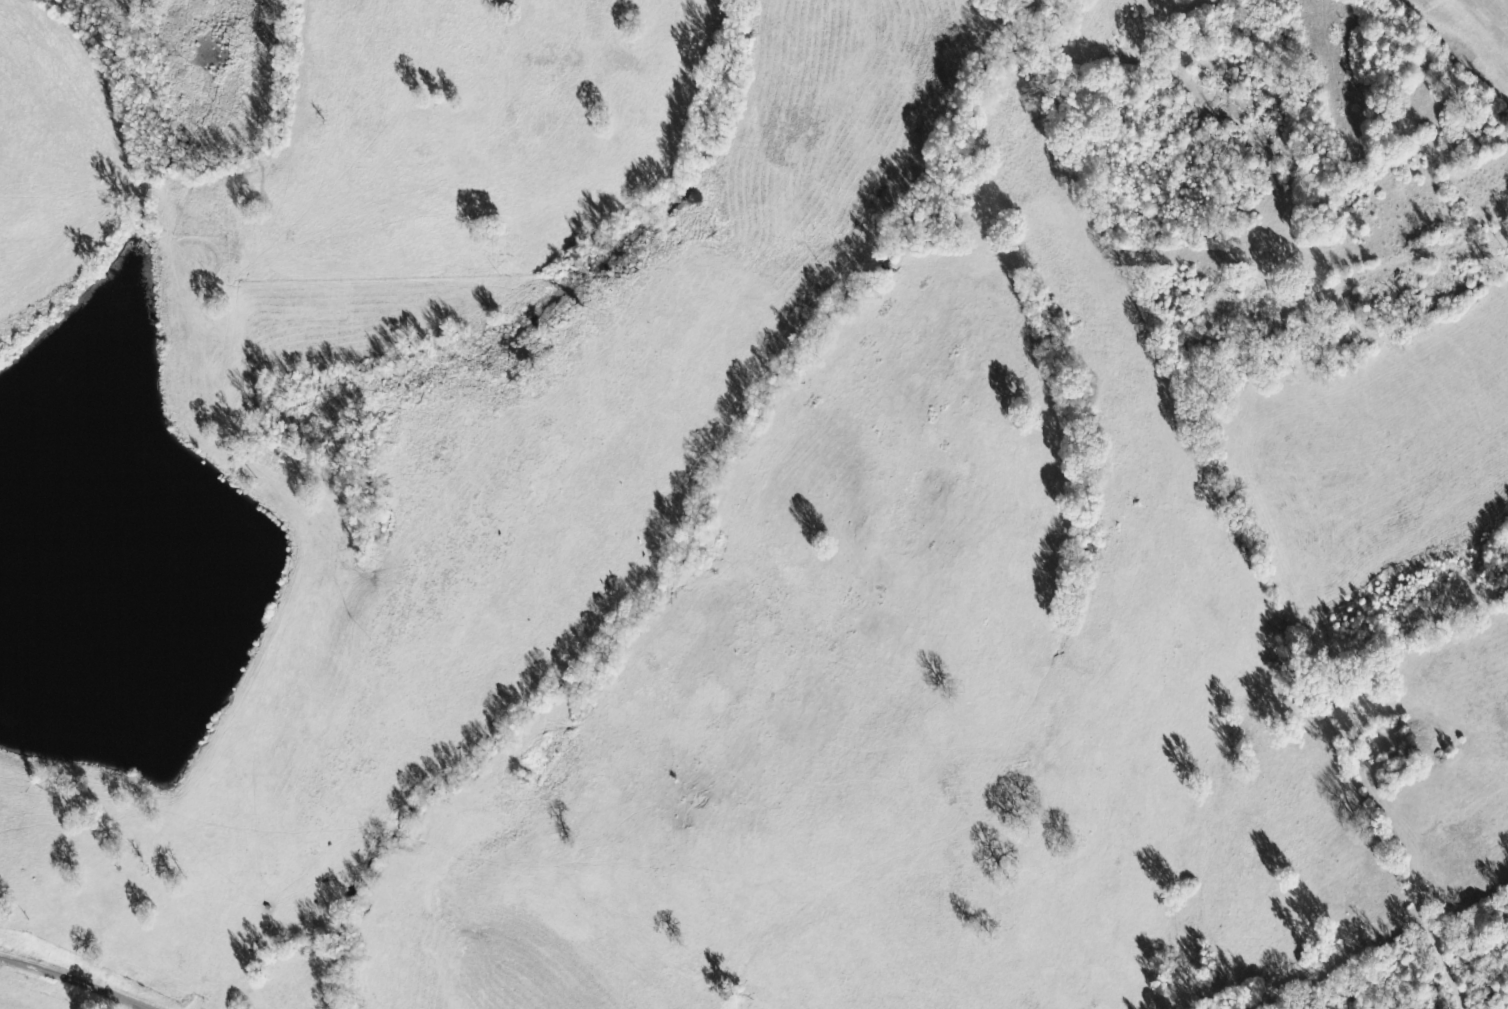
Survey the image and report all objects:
road: (184, 821)
road: (48, 991)

